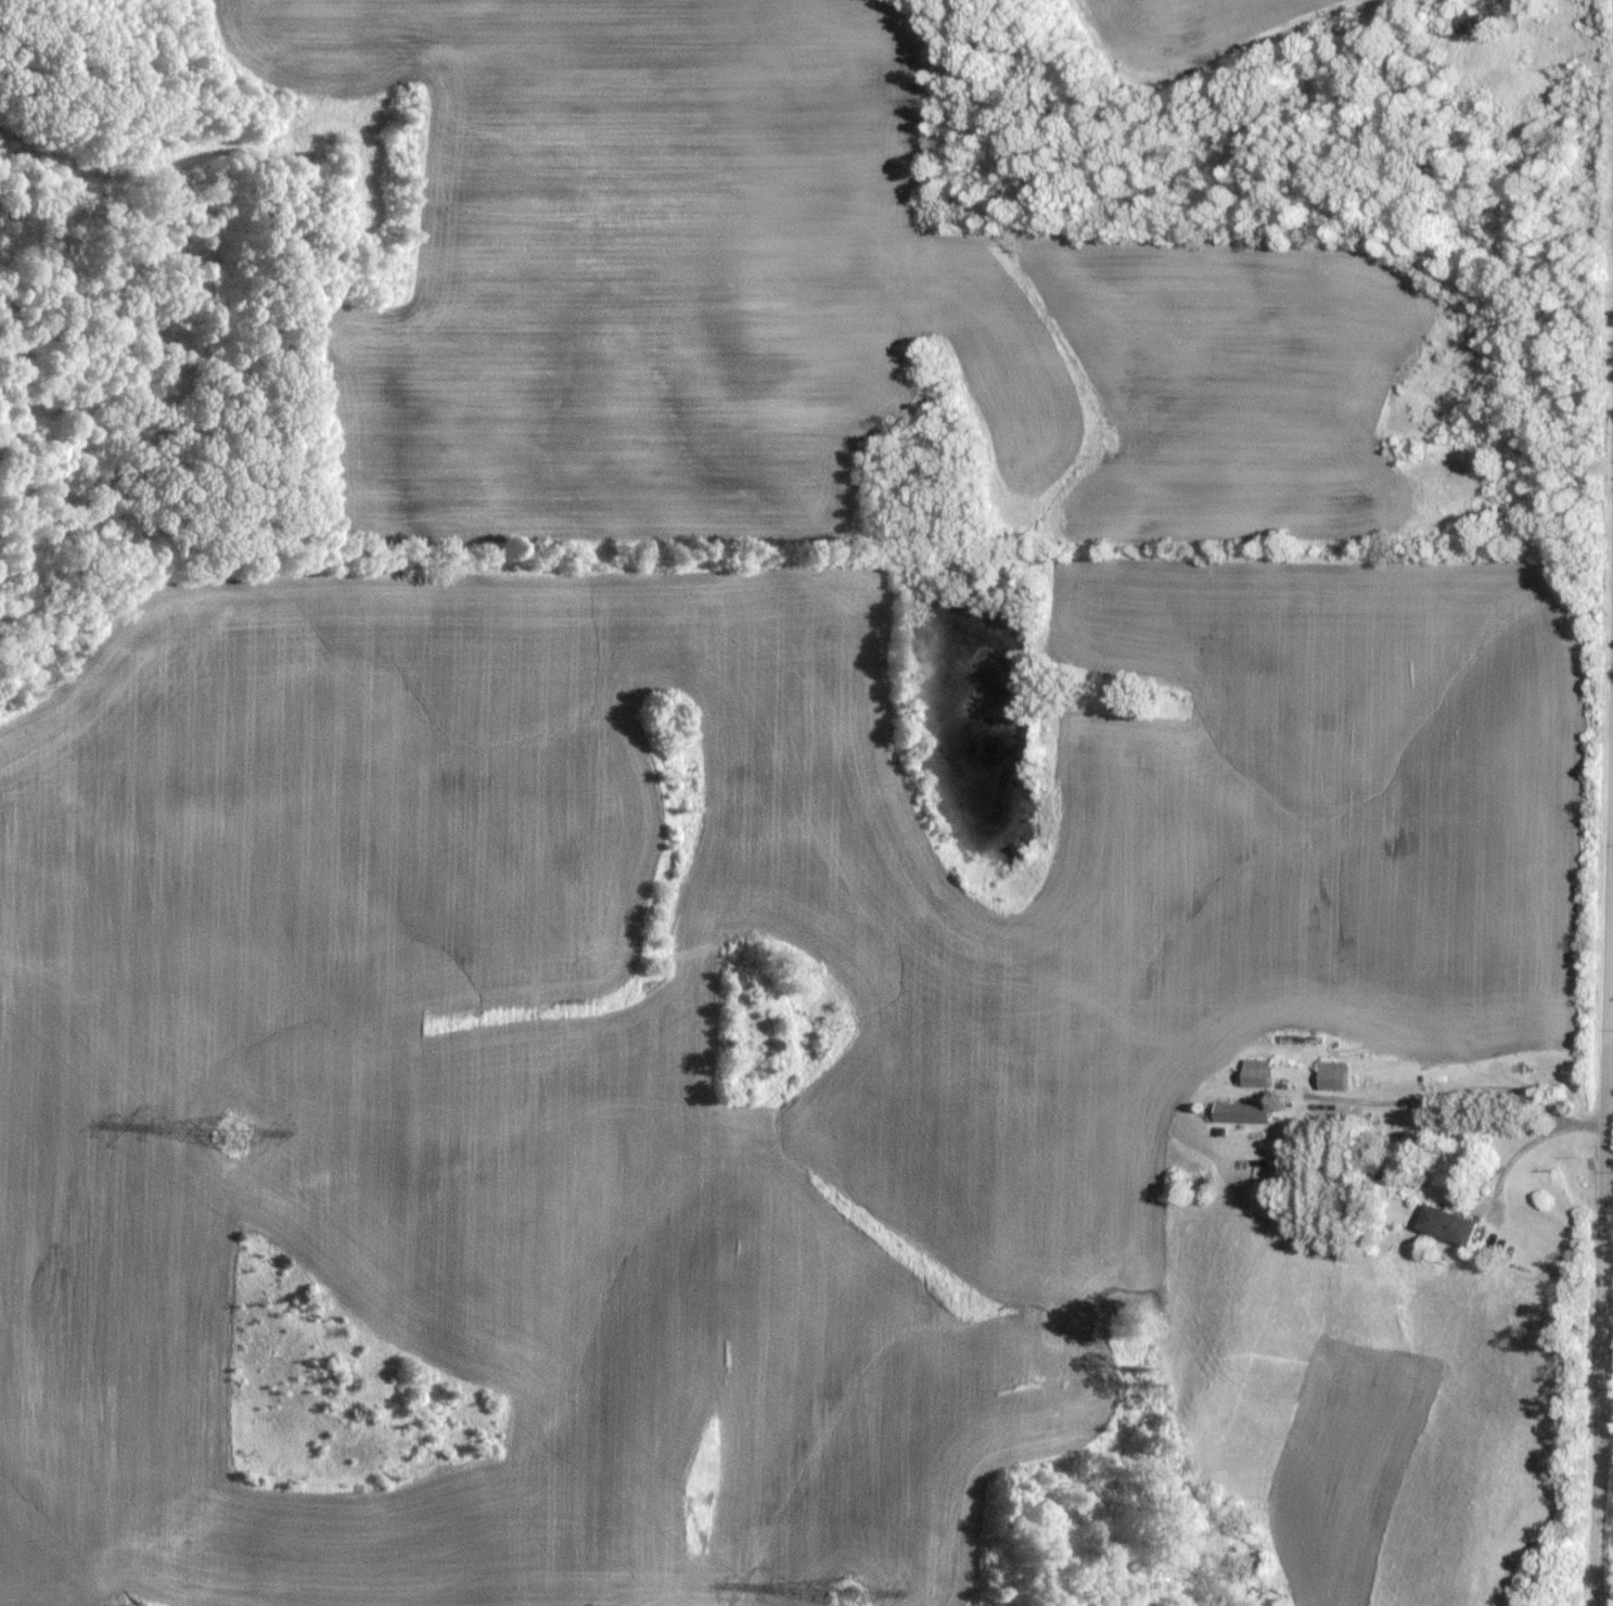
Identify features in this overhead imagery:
building: (1474, 25)
building: (1259, 1074)
building: (1334, 1076)
road: (1465, 1091)
building: (1244, 1113)
road: (1536, 1129)
power tower: (233, 1134)
building: (1386, 1168)
building: (1451, 1226)
road: (1606, 1232)
power tower: (850, 1596)

